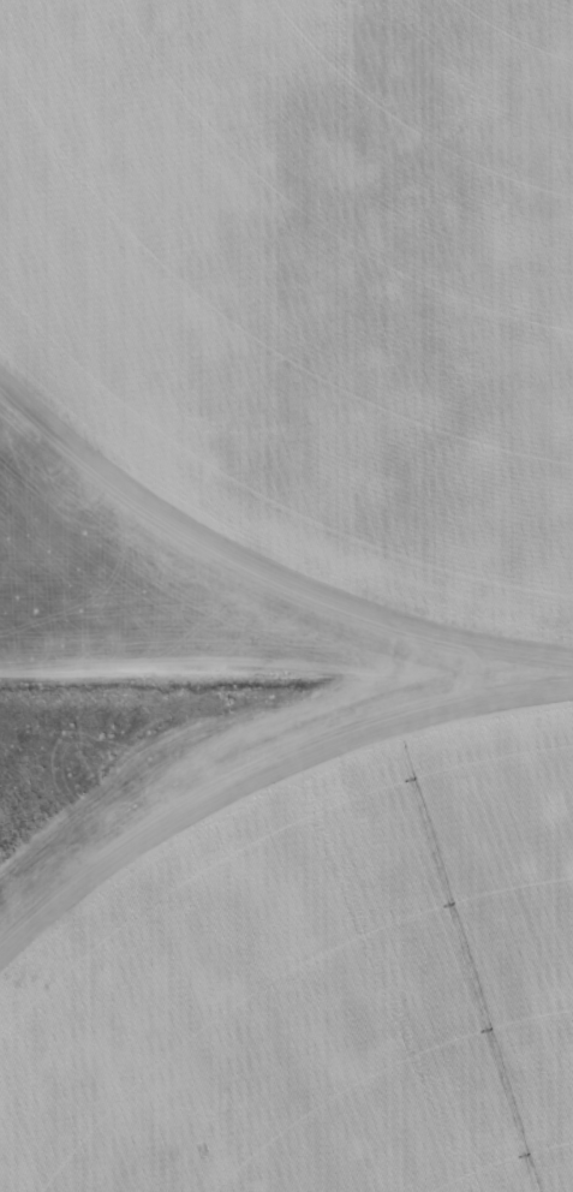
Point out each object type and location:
road: (286, 656)

